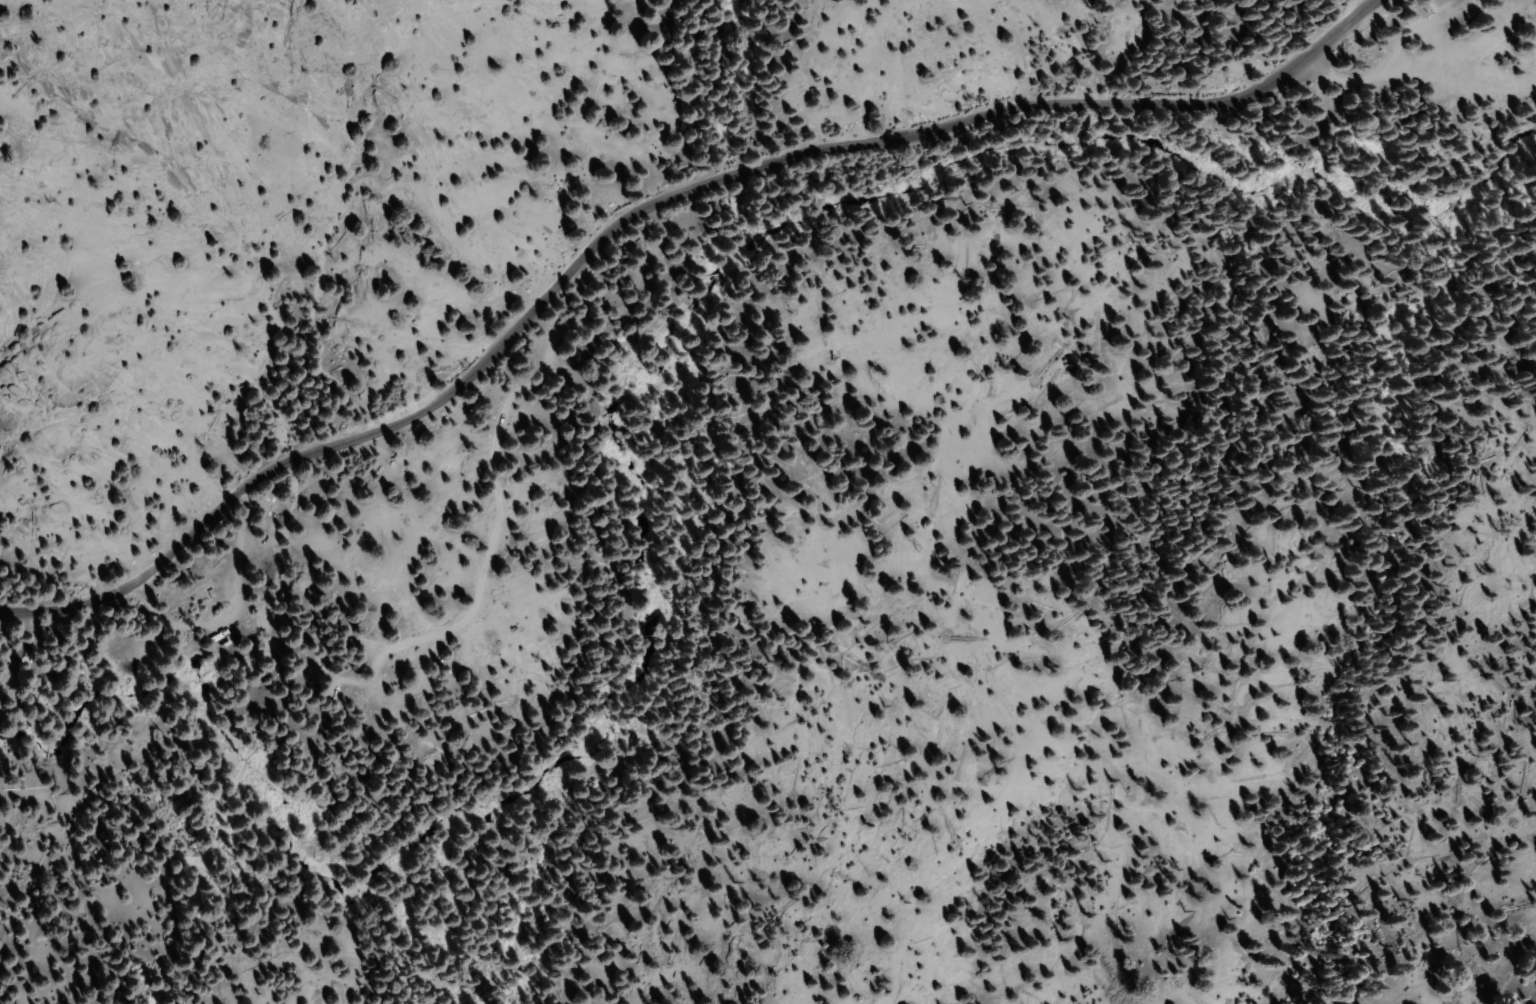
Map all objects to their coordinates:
road: (1420, 74)
road: (643, 210)
road: (240, 608)

